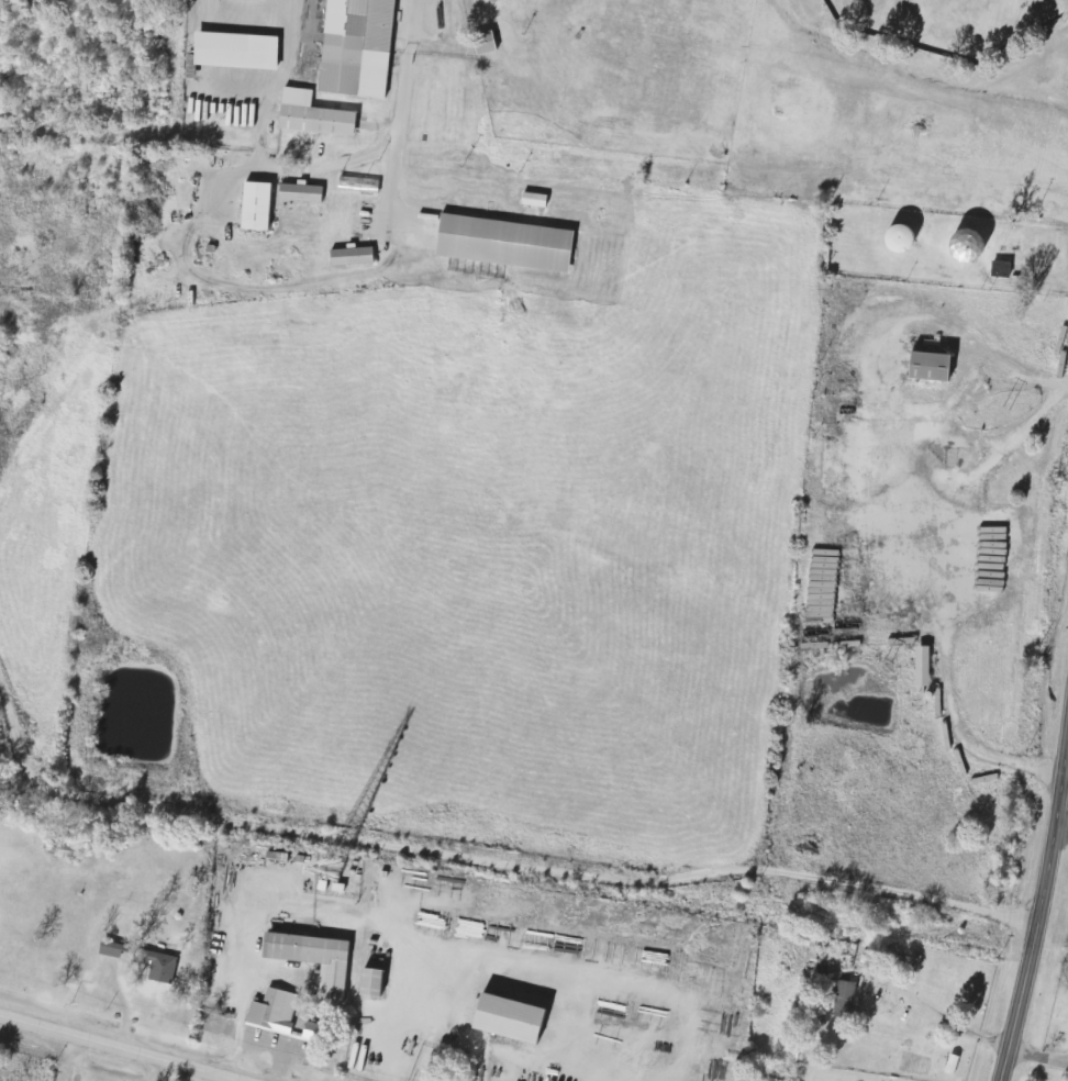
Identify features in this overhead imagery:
building: (251, 0)
building: (494, 1)
building: (485, 44)
building: (357, 48)
building: (236, 52)
building: (313, 116)
building: (359, 186)
building: (302, 193)
building: (534, 201)
building: (256, 208)
building: (897, 239)
building: (504, 245)
building: (964, 245)
building: (352, 258)
building: (1000, 269)
building: (928, 367)
power tower: (1001, 409)
power tower: (885, 662)
building: (921, 667)
road: (1060, 832)
road: (516, 860)
road: (1039, 899)
power tower: (753, 941)
building: (116, 950)
building: (313, 959)
building: (160, 967)
building: (370, 982)
building: (845, 1000)
building: (274, 1012)
building: (507, 1018)
road: (116, 1048)
building: (953, 1065)

